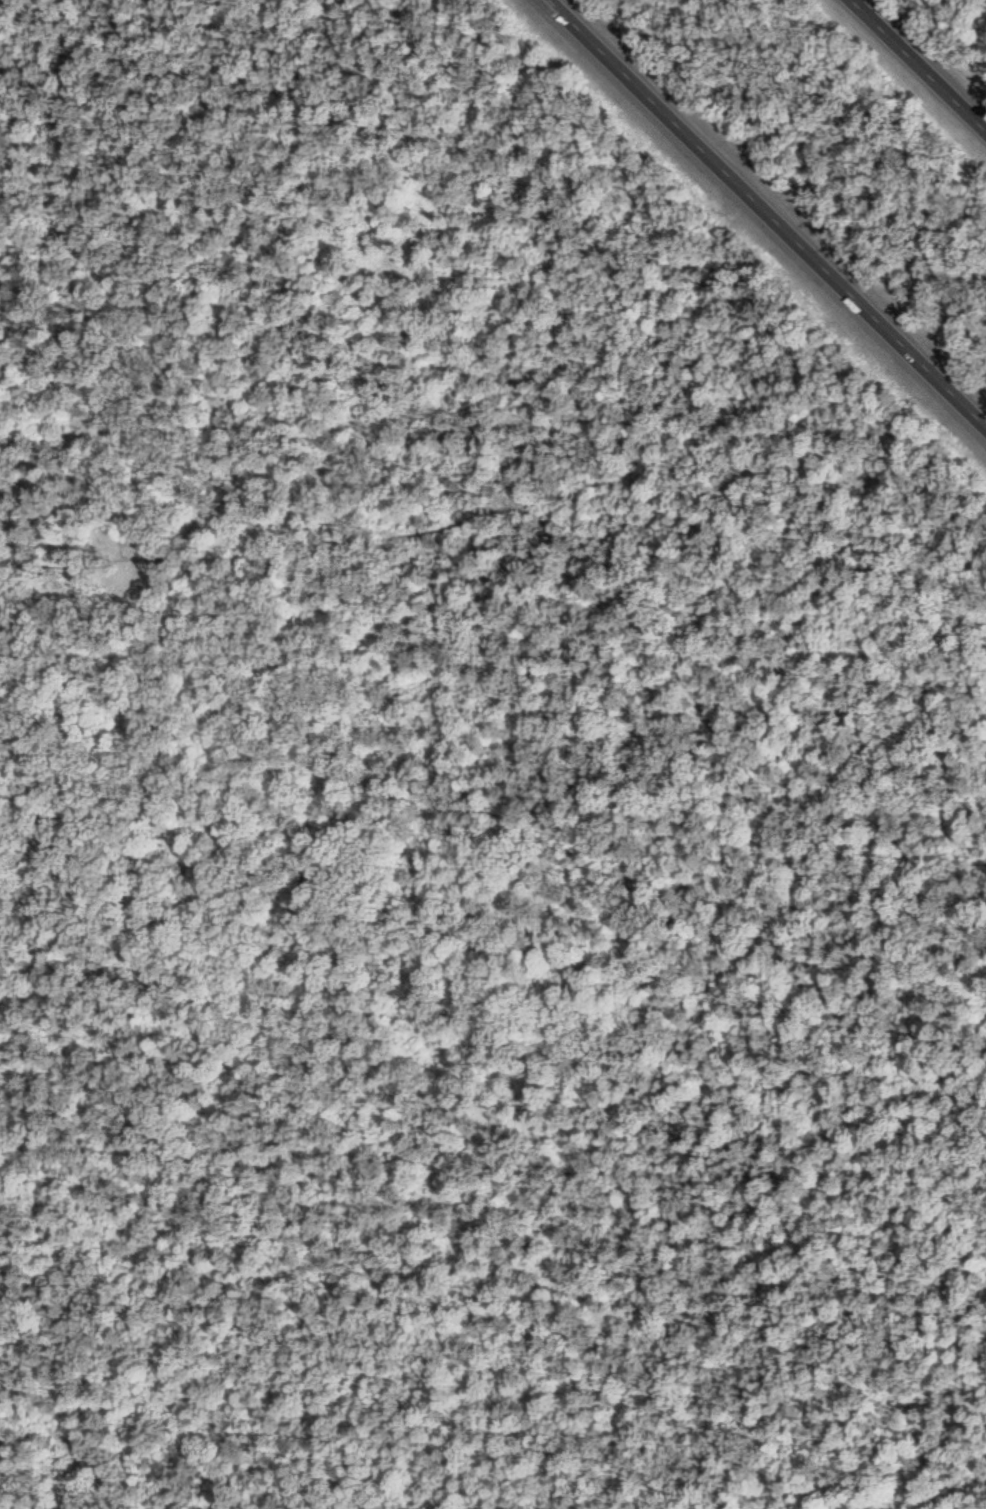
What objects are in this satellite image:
road: (924, 59)
road: (775, 206)
road: (747, 776)
road: (491, 866)
road: (493, 1377)

